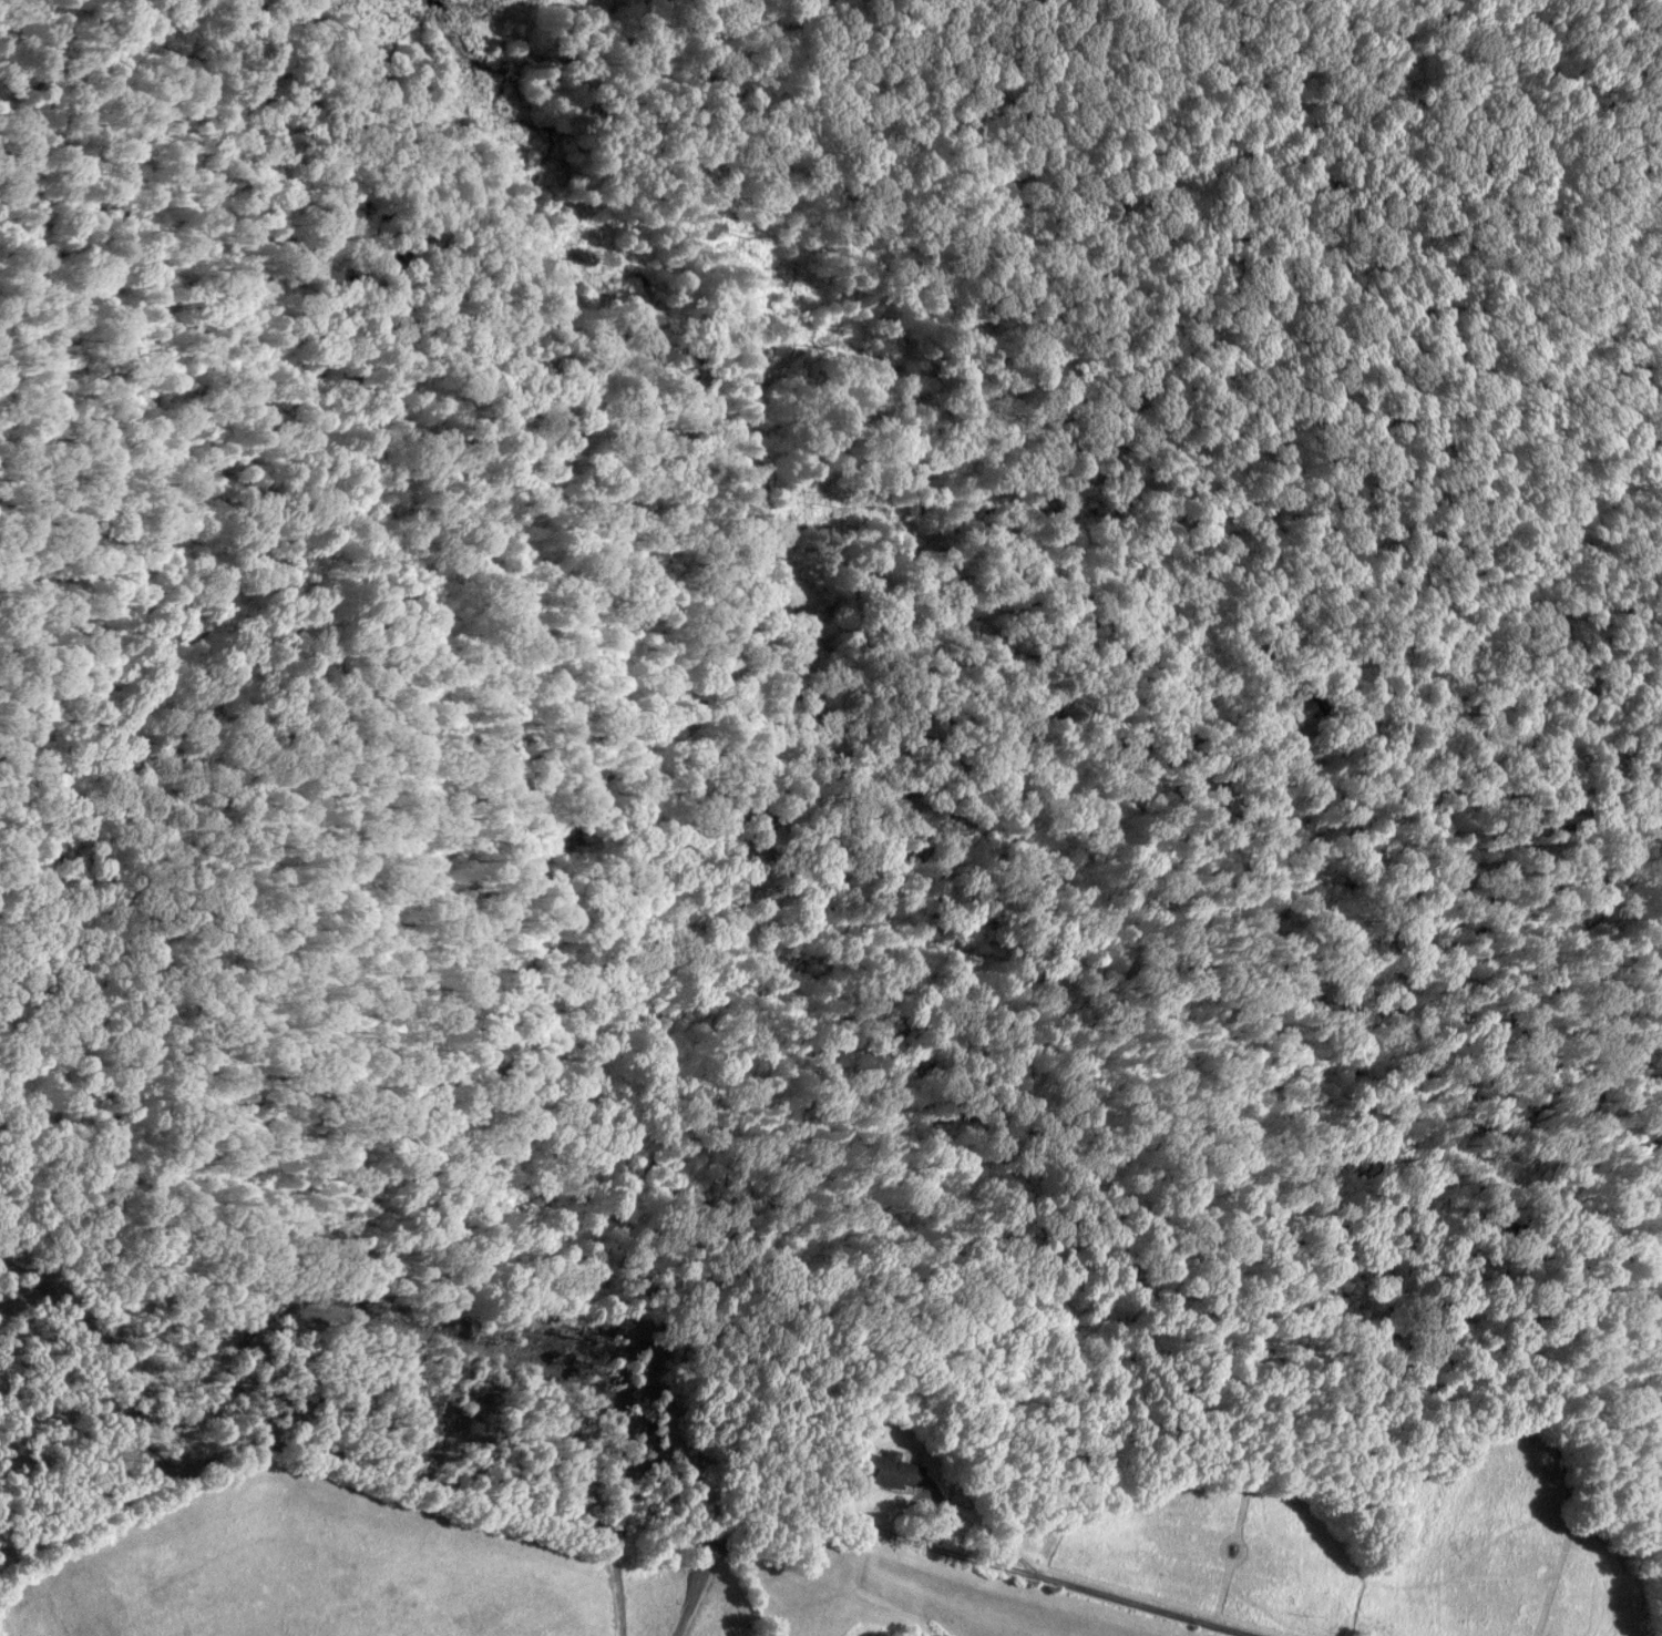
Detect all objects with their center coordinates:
road: (807, 785)
building: (886, 1466)
road: (614, 1509)

